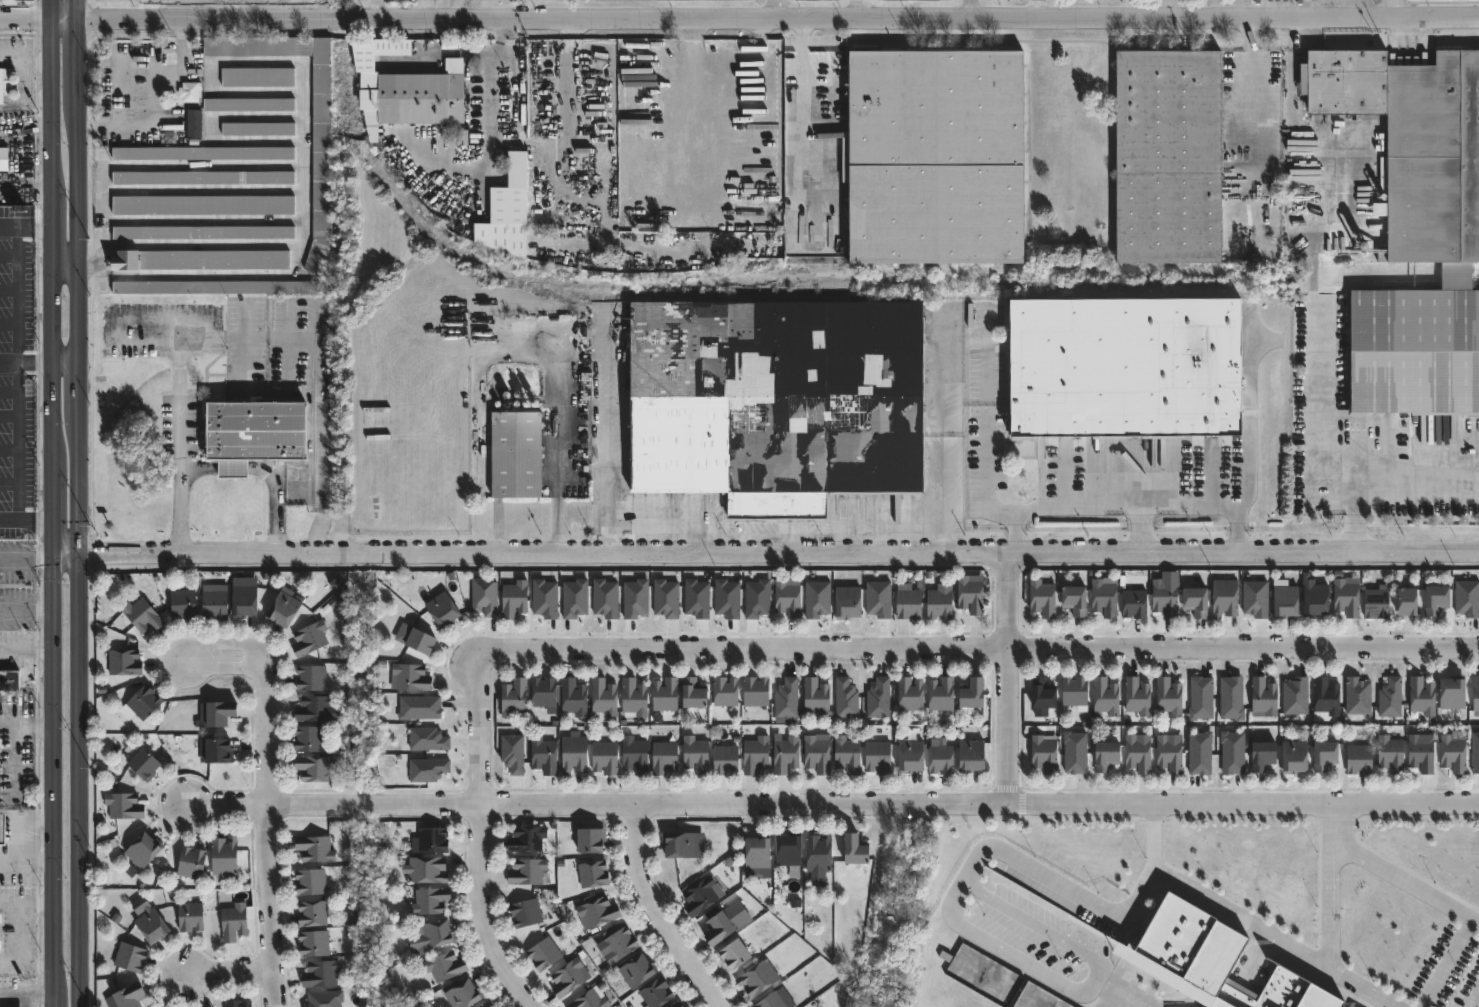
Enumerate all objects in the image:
road: (788, 8)
road: (981, 8)
road: (1036, 8)
road: (1165, 8)
road: (1223, 8)
road: (437, 9)
road: (476, 9)
road: (739, 17)
building: (371, 50)
building: (257, 78)
road: (491, 82)
building: (5, 84)
road: (1252, 86)
building: (189, 91)
road: (162, 93)
building: (416, 97)
building: (249, 105)
building: (194, 122)
road: (800, 123)
building: (258, 129)
building: (202, 154)
road: (12, 155)
building: (936, 155)
building: (1166, 155)
building: (3, 159)
road: (302, 164)
building: (321, 165)
building: (203, 179)
road: (105, 193)
building: (203, 206)
road: (25, 223)
building: (1413, 225)
building: (203, 234)
building: (199, 261)
road: (65, 264)
road: (210, 275)
railway: (851, 284)
building: (215, 289)
road: (15, 293)
road: (106, 324)
road: (24, 362)
road: (65, 362)
building: (1128, 366)
building: (249, 371)
road: (178, 372)
railway: (309, 394)
building: (778, 401)
road: (1323, 411)
road: (319, 421)
road: (1250, 426)
building: (251, 433)
road: (16, 447)
building: (514, 450)
road: (555, 464)
road: (263, 470)
road: (1385, 491)
road: (50, 503)
road: (81, 503)
road: (1025, 507)
road: (1013, 517)
road: (33, 518)
road: (768, 526)
road: (807, 526)
road: (855, 526)
road: (914, 526)
road: (317, 532)
road: (1140, 532)
road: (1236, 538)
road: (746, 539)
road: (1009, 539)
road: (764, 553)
traffic signals: (81, 554)
road: (25, 555)
traffic signals: (51, 555)
building: (968, 594)
building: (484, 597)
building: (1040, 597)
building: (1102, 597)
building: (1223, 597)
building: (1310, 597)
building: (1344, 597)
building: (515, 598)
building: (787, 598)
building: (1162, 598)
building: (1072, 599)
building: (1434, 599)
building: (214, 601)
building: (244, 601)
building: (1193, 601)
building: (1283, 601)
building: (849, 602)
building: (1374, 602)
building: (1401, 602)
building: (937, 603)
building: (1132, 603)
building: (183, 604)
building: (909, 604)
building: (283, 609)
building: (443, 610)
road: (25, 613)
building: (142, 615)
building: (311, 638)
building: (421, 641)
road: (978, 647)
building: (123, 662)
building: (410, 676)
building: (310, 677)
road: (1005, 678)
building: (9, 681)
building: (544, 691)
building: (726, 691)
building: (753, 691)
building: (1076, 691)
building: (968, 693)
building: (1450, 693)
building: (1475, 693)
building: (662, 694)
building: (694, 694)
building: (908, 694)
building: (938, 694)
building: (1045, 694)
building: (1139, 696)
building: (1167, 696)
building: (1262, 696)
building: (1323, 696)
building: (1420, 696)
building: (514, 697)
building: (571, 697)
building: (605, 697)
building: (631, 697)
building: (815, 697)
building: (1103, 697)
building: (143, 702)
building: (315, 709)
building: (214, 713)
road: (9, 725)
road: (15, 739)
building: (308, 739)
building: (215, 750)
building: (1418, 751)
building: (1450, 752)
building: (815, 753)
building: (571, 754)
building: (632, 754)
building: (693, 754)
building: (753, 754)
building: (783, 754)
building: (844, 754)
building: (1046, 754)
building: (1139, 754)
building: (1171, 754)
building: (1389, 754)
building: (542, 755)
building: (968, 755)
building: (1260, 755)
building: (1322, 755)
building: (907, 756)
building: (1103, 756)
building: (602, 757)
building: (662, 757)
building: (875, 757)
building: (1292, 757)
building: (1357, 759)
building: (723, 760)
building: (938, 760)
building: (144, 764)
building: (314, 768)
road: (270, 792)
road: (834, 804)
building: (124, 806)
building: (2, 829)
building: (433, 838)
road: (481, 838)
building: (523, 839)
building: (593, 839)
road: (18, 841)
building: (676, 845)
building: (315, 847)
building: (857, 848)
building: (143, 850)
building: (818, 851)
building: (791, 852)
building: (760, 853)
building: (225, 854)
road: (1343, 857)
building: (192, 861)
building: (428, 868)
building: (524, 871)
road: (1395, 873)
building: (590, 874)
building: (311, 881)
building: (703, 893)
road: (1087, 899)
building: (430, 900)
building: (598, 910)
building: (527, 912)
building: (311, 913)
road: (655, 913)
road: (1015, 914)
building: (190, 915)
road: (1240, 916)
building: (233, 920)
building: (153, 924)
road: (1327, 926)
building: (721, 928)
building: (437, 933)
building: (314, 943)
building: (616, 945)
building: (544, 953)
building: (736, 953)
building: (130, 956)
road: (1446, 963)
building: (445, 965)
road: (1029, 965)
building: (638, 970)
road: (231, 971)
building: (321, 973)
building: (758, 977)
building: (564, 978)
building: (657, 991)
building: (463, 993)
building: (131, 995)
road: (1474, 998)
building: (777, 999)
building: (1232, 999)
building: (587, 1000)
building: (238, 1003)
building: (487, 1004)
building: (678, 1004)
building: (1279, 1005)

